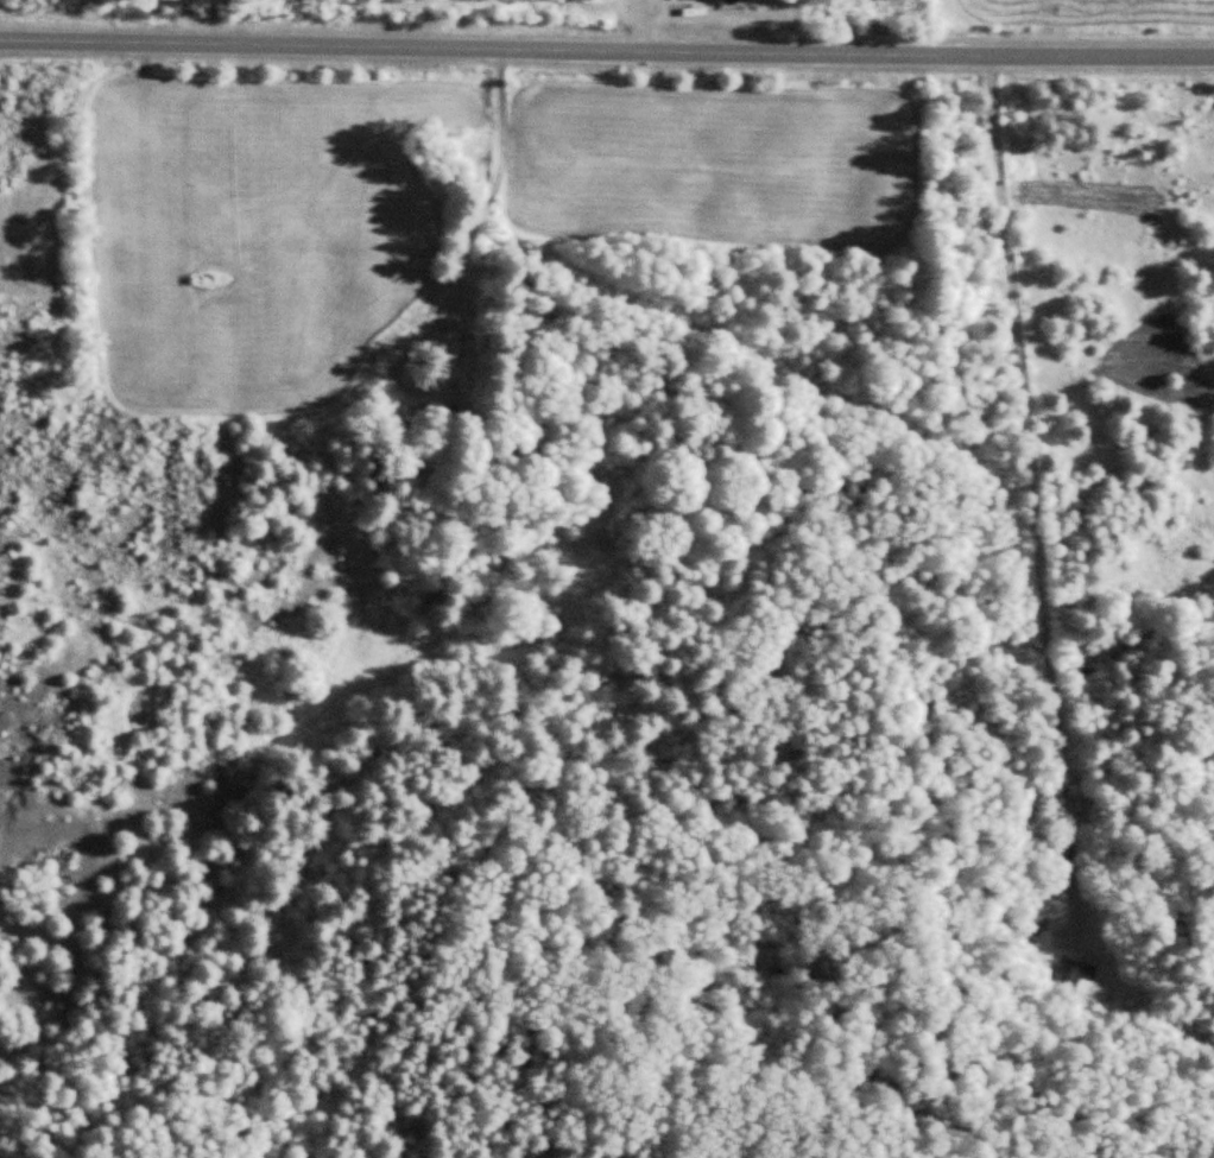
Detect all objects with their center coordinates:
road: (606, 50)
road: (659, 148)
road: (97, 153)

